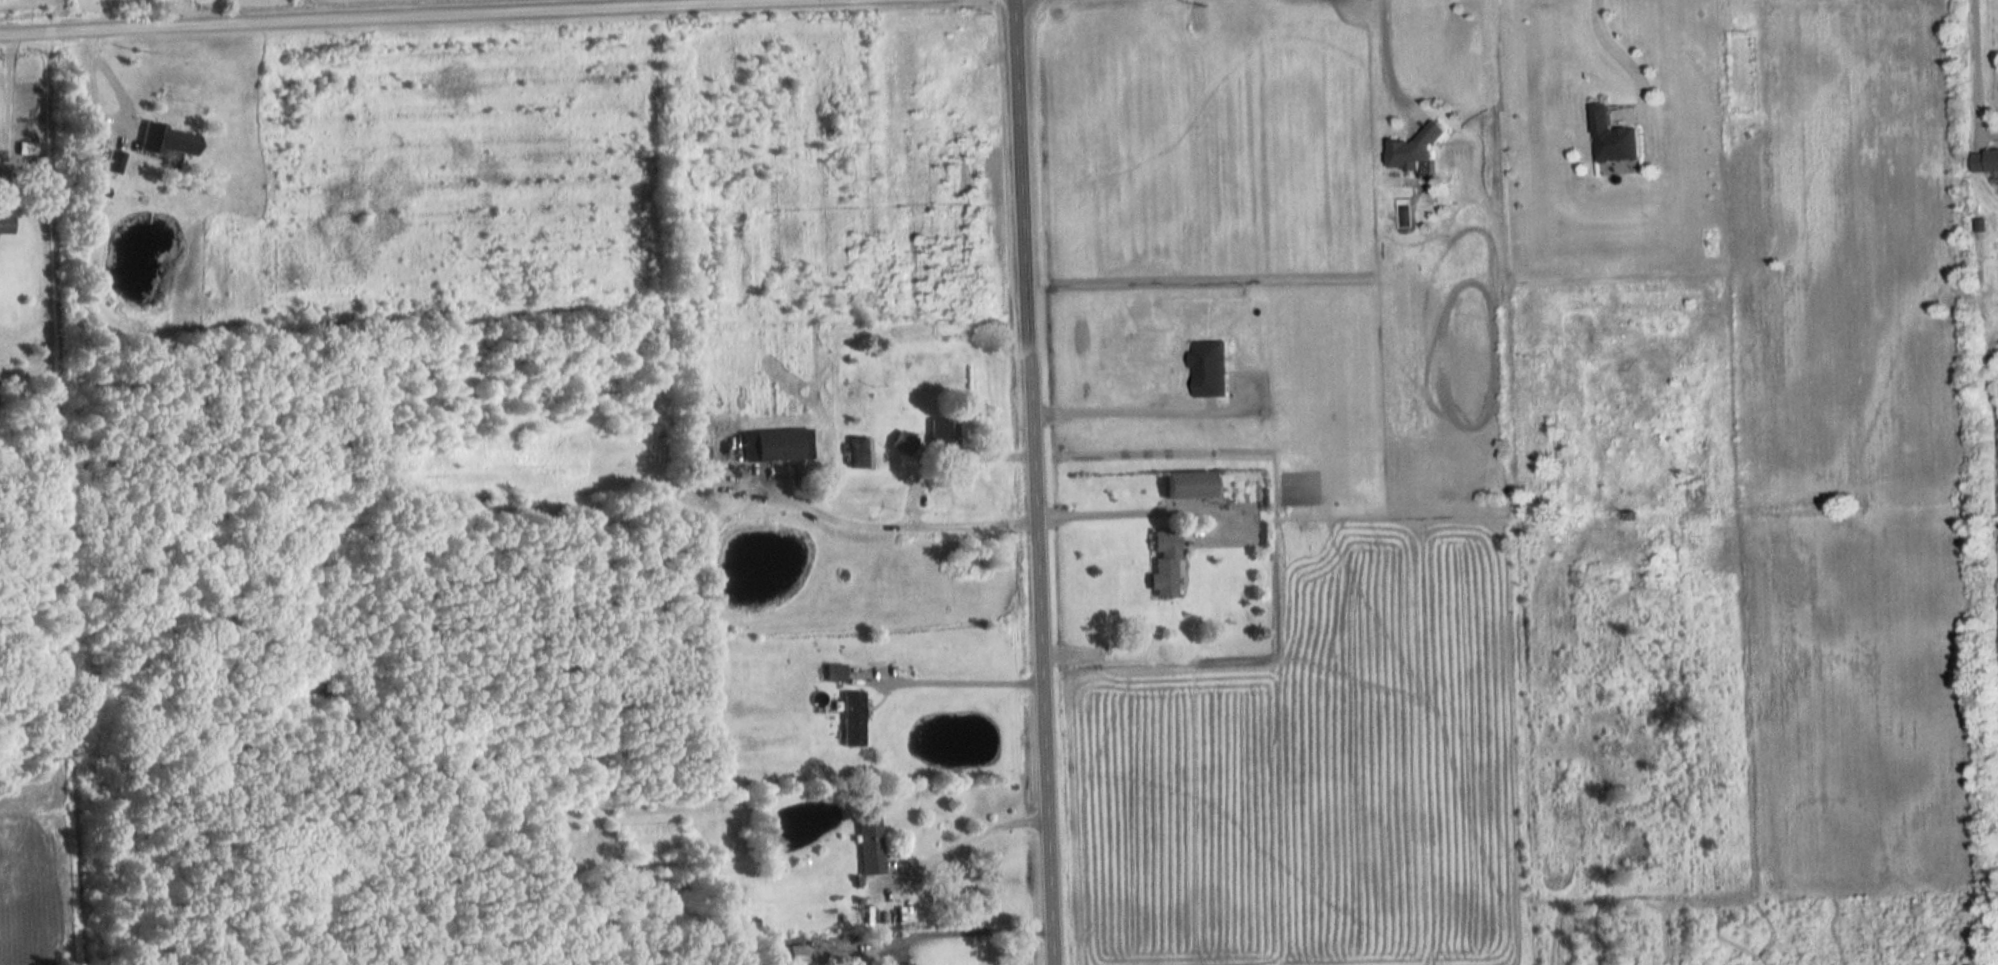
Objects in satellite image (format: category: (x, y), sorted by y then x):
crop: (253, 1)
road: (183, 13)
road: (383, 17)
road: (1385, 56)
road: (1621, 57)
road: (1973, 68)
road: (3, 101)
road: (120, 115)
building: (1613, 138)
building: (168, 141)
building: (1414, 149)
building: (1985, 161)
building: (4, 223)
road: (1130, 411)
building: (940, 435)
building: (903, 444)
building: (775, 445)
building: (858, 453)
road: (1031, 482)
building: (1185, 485)
road: (1094, 519)
road: (908, 523)
building: (1162, 564)
building: (832, 674)
road: (964, 682)
building: (850, 719)
road: (976, 830)
building: (868, 846)
road: (971, 933)
building: (796, 956)
building: (901, 964)

